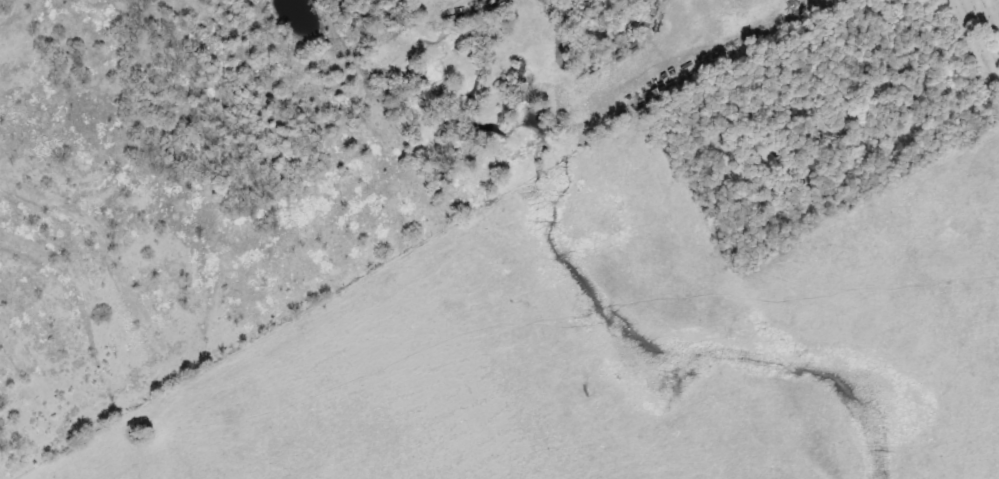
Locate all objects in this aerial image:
park: (979, 37)

